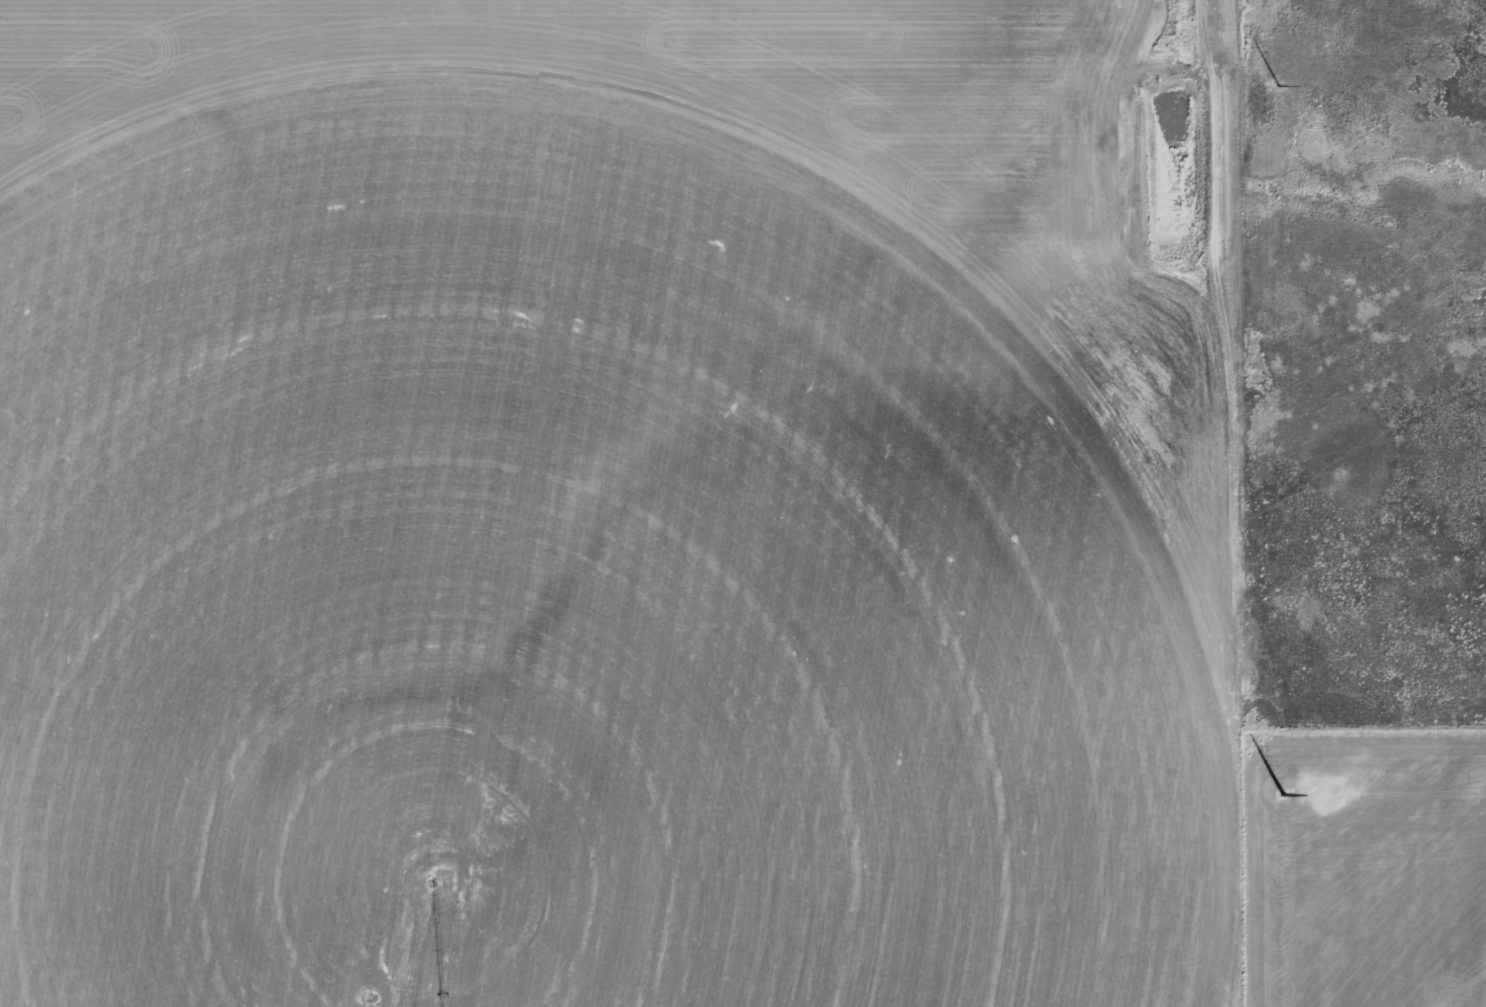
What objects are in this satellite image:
power tower: (1281, 91)
power tower: (1284, 796)

